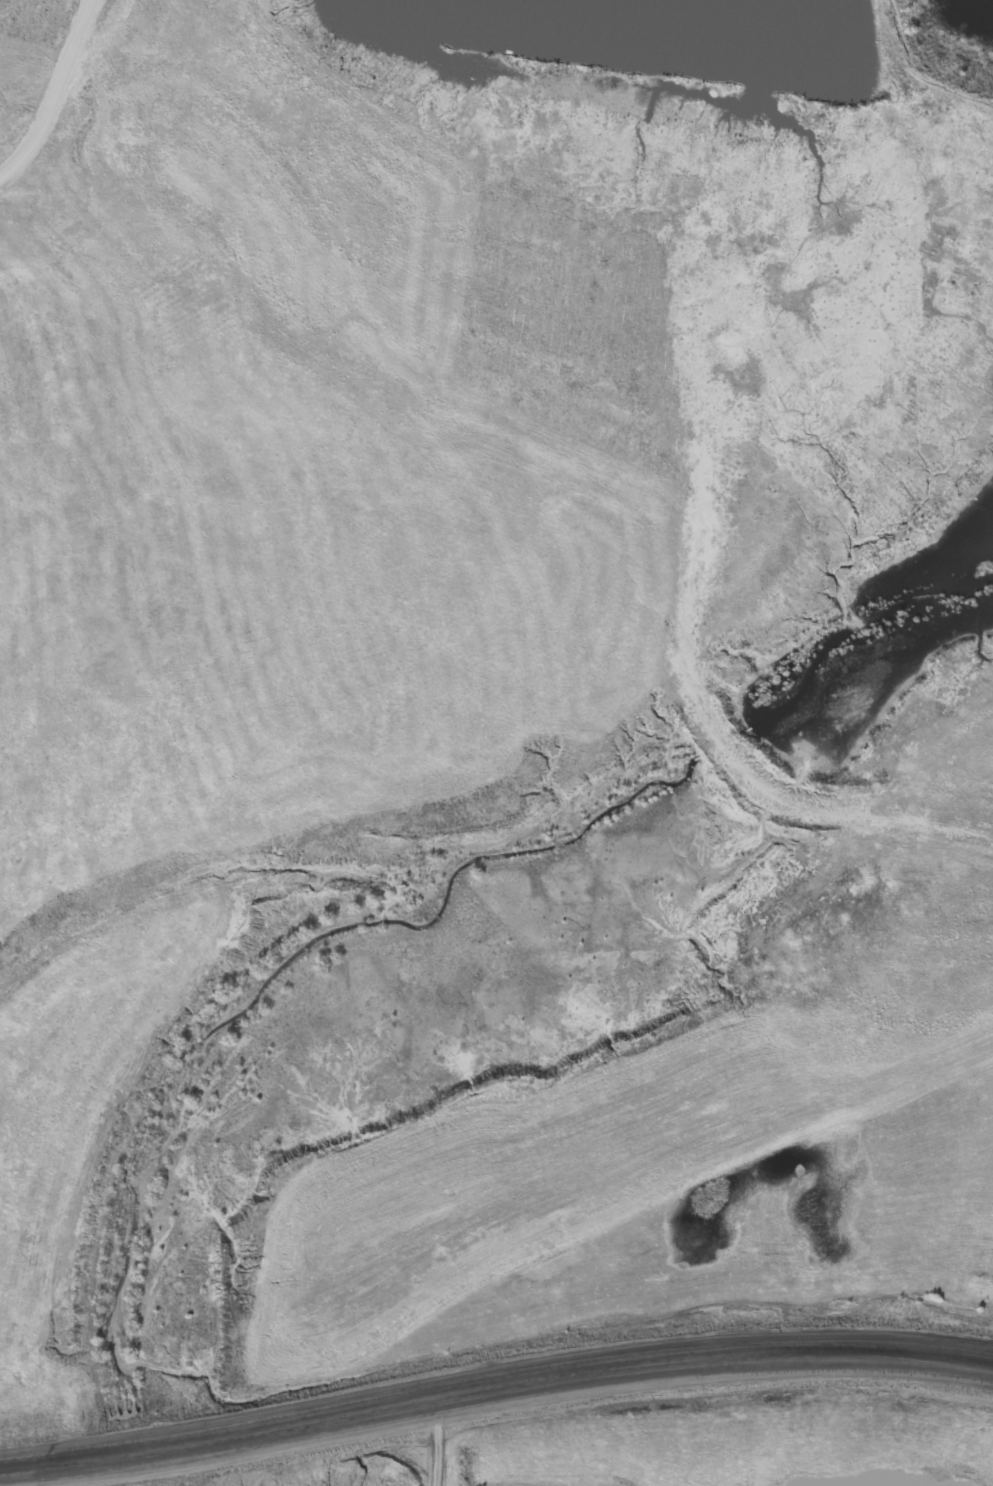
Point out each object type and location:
road: (57, 97)
quarry: (496, 743)
road: (331, 1459)

